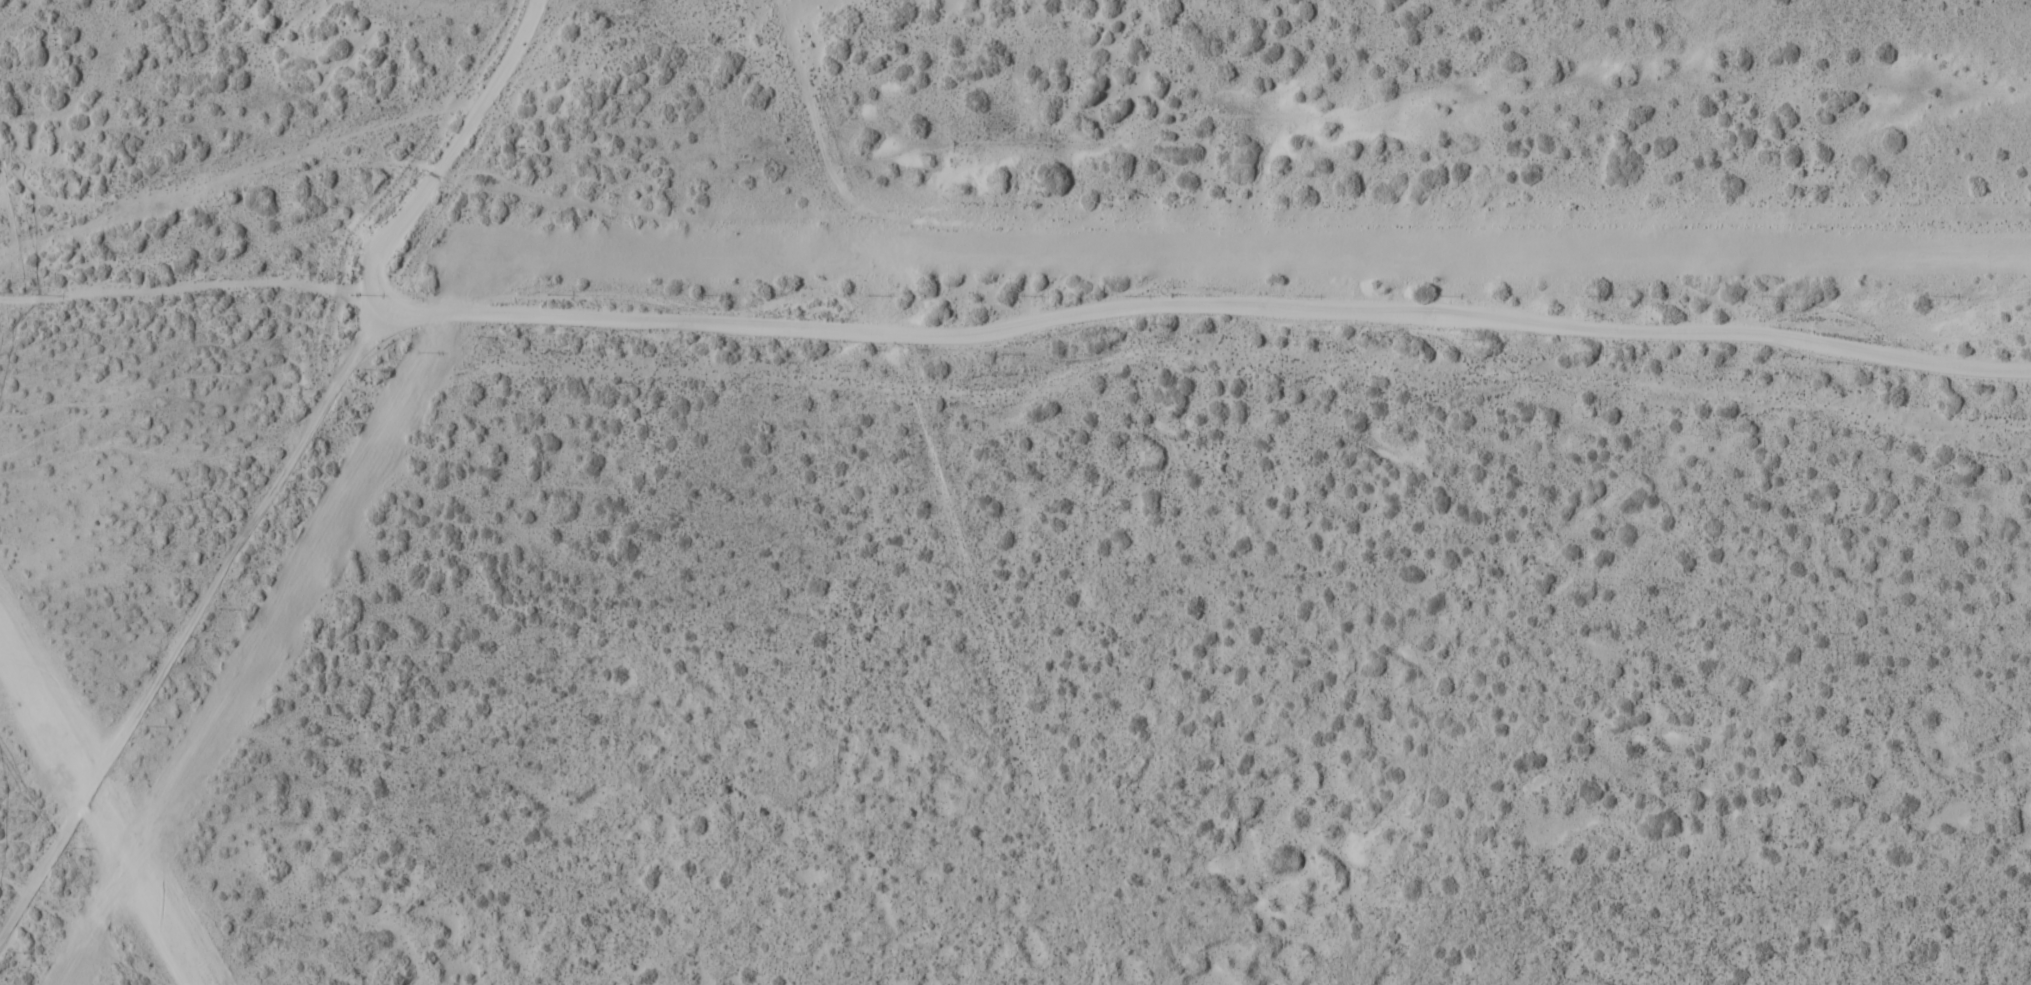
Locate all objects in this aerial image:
road: (1016, 327)

